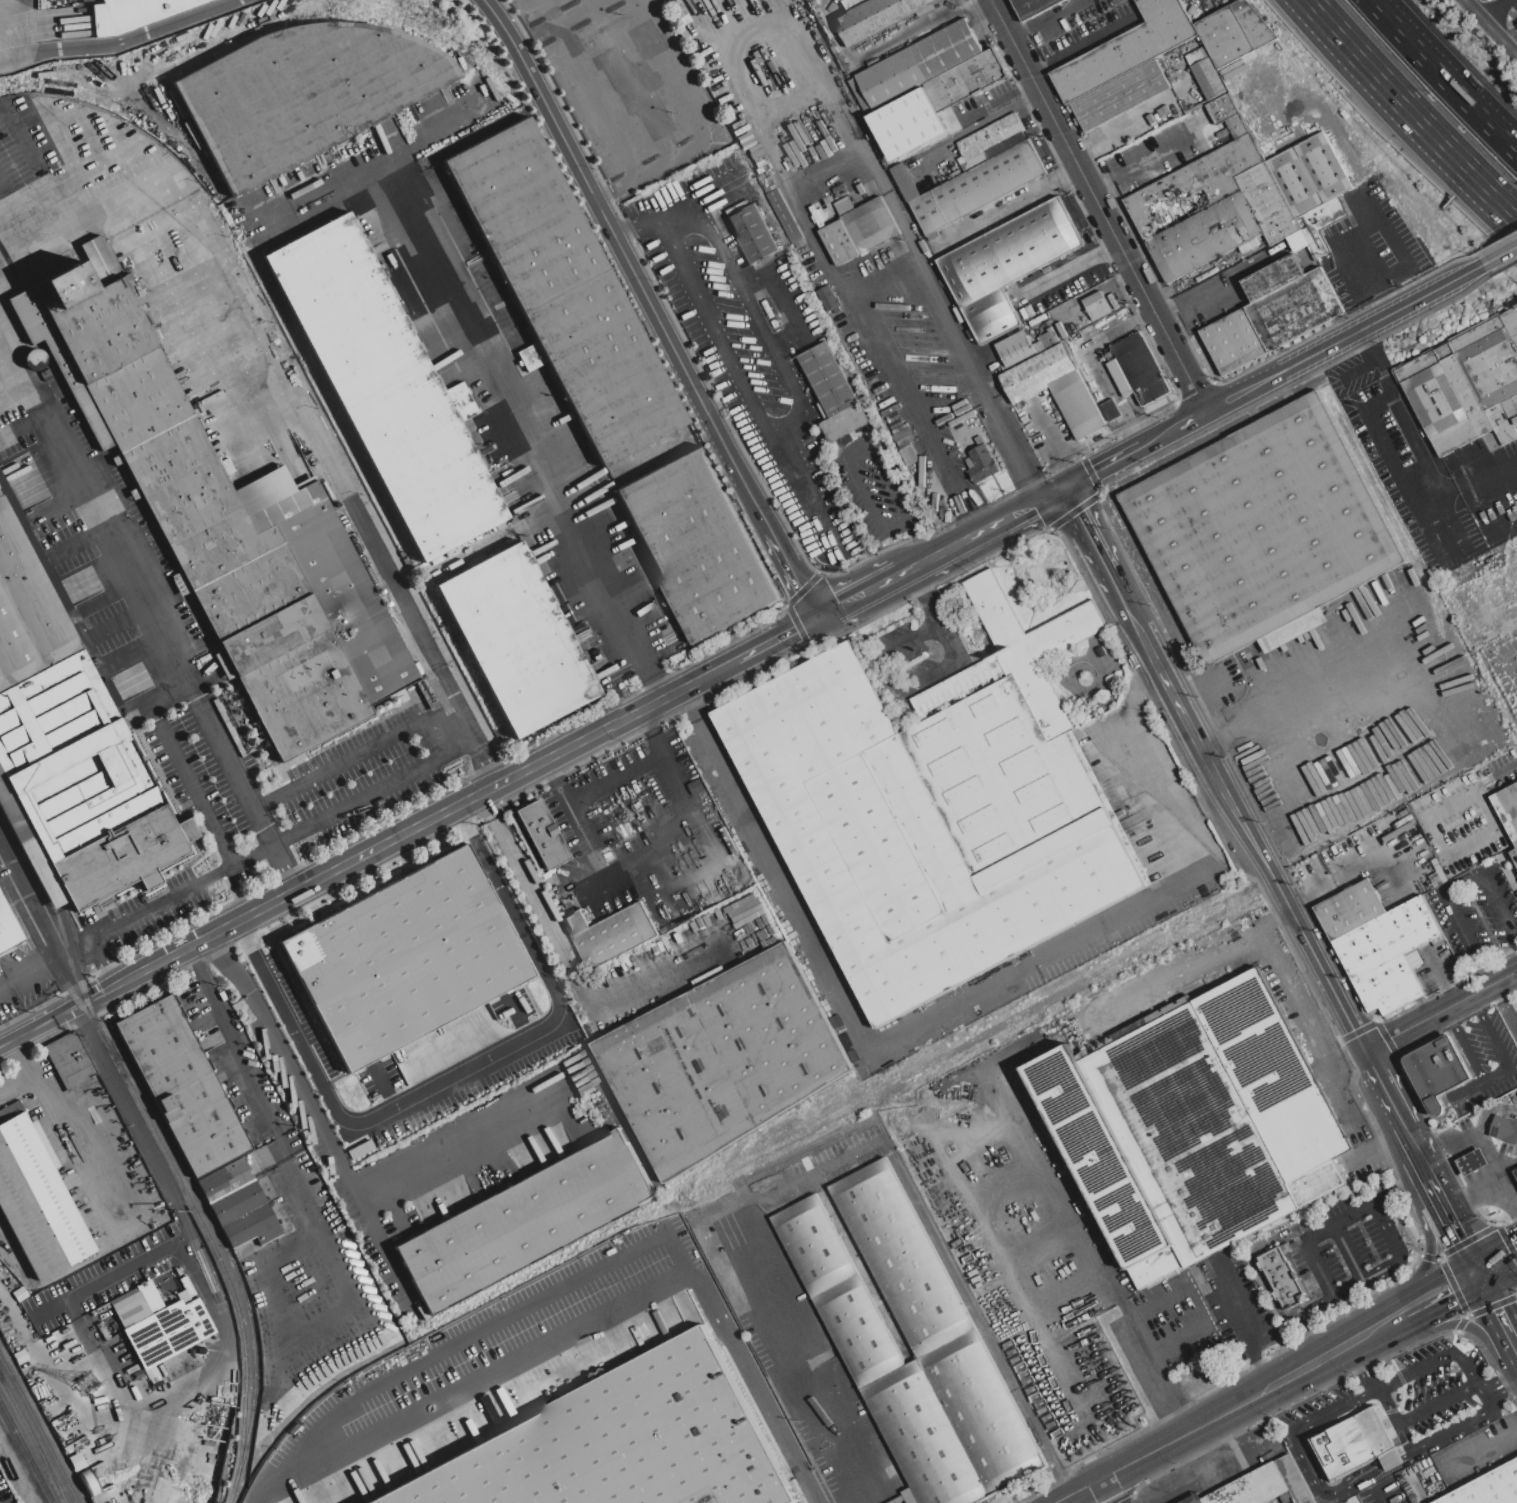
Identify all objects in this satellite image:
building: (852, 4)
road: (16, 5)
building: (1033, 7)
building: (925, 10)
road: (1493, 10)
building: (134, 13)
road: (1475, 14)
road: (1046, 17)
building: (876, 18)
road: (747, 19)
building: (1253, 23)
building: (1224, 36)
road: (121, 41)
road: (1503, 44)
road: (4, 45)
road: (1079, 45)
road: (878, 48)
building: (1128, 49)
building: (1273, 53)
building: (1197, 55)
building: (918, 64)
building: (982, 70)
road: (1443, 77)
building: (1208, 78)
road: (629, 79)
road: (589, 88)
building: (947, 88)
building: (304, 94)
building: (860, 95)
building: (1120, 95)
road: (978, 107)
building: (1222, 108)
building: (908, 110)
building: (1255, 110)
road: (1410, 111)
road: (695, 124)
building: (737, 125)
road: (1124, 125)
building: (1237, 125)
building: (741, 131)
building: (990, 136)
road: (59, 138)
building: (1223, 139)
building: (746, 141)
building: (1265, 145)
building: (755, 151)
building: (1269, 154)
building: (901, 156)
building: (920, 156)
road: (1151, 156)
building: (760, 161)
building: (970, 161)
building: (1323, 167)
road: (1371, 174)
building: (989, 181)
building: (1294, 181)
building: (904, 182)
road: (1101, 182)
road: (712, 184)
building: (1193, 187)
building: (720, 191)
road: (318, 196)
building: (1267, 202)
road: (673, 203)
road: (21, 204)
road: (1100, 205)
building: (843, 206)
building: (929, 212)
road: (5, 213)
building: (784, 216)
building: (1321, 216)
road: (634, 222)
building: (870, 224)
building: (753, 233)
building: (933, 236)
building: (1204, 236)
building: (1297, 240)
building: (839, 242)
building: (1317, 243)
building: (1249, 244)
road: (1108, 249)
building: (1009, 251)
road: (1498, 255)
road: (1362, 257)
building: (99, 261)
road: (628, 262)
railway: (9, 264)
road: (1058, 275)
building: (1273, 277)
building: (63, 288)
building: (564, 293)
building: (1318, 296)
road: (1383, 297)
building: (827, 298)
road: (1196, 303)
building: (1097, 305)
building: (1294, 309)
building: (991, 314)
building: (1269, 322)
building: (1066, 325)
building: (101, 330)
building: (1061, 330)
building: (1053, 335)
building: (1245, 335)
road: (1344, 339)
building: (1047, 340)
building: (1039, 347)
building: (1223, 347)
building: (1015, 350)
road: (958, 355)
building: (56, 358)
road: (1356, 366)
building: (1140, 369)
road: (486, 372)
building: (1036, 373)
building: (45, 375)
road: (270, 376)
building: (828, 379)
building: (1467, 385)
building: (384, 388)
building: (1047, 398)
building: (137, 399)
building: (1076, 404)
building: (1055, 410)
road: (1192, 419)
building: (844, 422)
road: (783, 423)
road: (1159, 436)
building: (902, 440)
building: (1054, 442)
road: (1420, 443)
road: (843, 454)
road: (1387, 454)
building: (981, 463)
road: (1101, 467)
traffic signals: (1062, 488)
building: (275, 498)
building: (192, 504)
road: (1001, 519)
building: (1262, 526)
road: (1083, 527)
road: (918, 537)
building: (697, 545)
building: (36, 550)
road: (920, 561)
road: (792, 572)
building: (246, 592)
road: (857, 595)
building: (345, 601)
road: (152, 611)
road: (932, 614)
traffic signals: (816, 617)
building: (1291, 629)
building: (269, 636)
road: (776, 638)
building: (517, 639)
building: (1015, 651)
road: (716, 670)
road: (885, 673)
building: (303, 695)
road: (1183, 713)
road: (619, 722)
road: (1247, 725)
road: (467, 726)
road: (456, 750)
building: (69, 752)
road: (1154, 753)
road: (1494, 773)
road: (611, 776)
road: (487, 806)
building: (1508, 808)
road: (329, 816)
road: (421, 825)
building: (926, 826)
building: (541, 834)
road: (647, 848)
building: (1514, 855)
road: (1445, 857)
road: (1348, 865)
road: (490, 871)
road: (1447, 884)
road: (28, 901)
road: (137, 912)
building: (577, 923)
building: (9, 926)
building: (616, 936)
building: (1377, 944)
road: (192, 947)
road: (56, 955)
road: (1313, 955)
building: (404, 958)
road: (1515, 977)
road: (1170, 981)
road: (578, 982)
road: (4, 984)
railway: (84, 988)
road: (1291, 1001)
road: (279, 1003)
road: (1505, 1007)
road: (1440, 1012)
road: (41, 1024)
road: (879, 1047)
road: (1367, 1059)
building: (723, 1060)
building: (69, 1061)
road: (477, 1067)
building: (1435, 1071)
road: (1493, 1076)
road: (15, 1084)
building: (181, 1086)
road: (1464, 1091)
road: (1337, 1095)
road: (78, 1101)
road: (1394, 1110)
building: (3, 1112)
building: (1192, 1125)
building: (1504, 1128)
road: (1469, 1131)
railway: (813, 1150)
road: (844, 1157)
building: (1473, 1161)
building: (1516, 1171)
road: (1428, 1176)
road: (1507, 1177)
road: (1052, 1184)
road: (1400, 1188)
road: (351, 1191)
road: (1481, 1193)
railway: (191, 1200)
building: (37, 1201)
building: (238, 1205)
building: (525, 1220)
road: (316, 1227)
road: (1455, 1227)
road: (1310, 1234)
traffic signals: (1460, 1237)
traffic signals: (1508, 1238)
road: (178, 1241)
road: (1427, 1242)
road: (1494, 1245)
railway: (226, 1250)
road: (1348, 1251)
road: (1253, 1259)
road: (389, 1261)
road: (76, 1264)
road: (1393, 1264)
road: (1479, 1271)
building: (1281, 1276)
road: (1434, 1277)
road: (1502, 1277)
building: (59, 1290)
building: (150, 1297)
traffic signals: (1454, 1301)
road: (1444, 1305)
traffic signals: (1498, 1307)
building: (129, 1308)
road: (1387, 1312)
road: (1501, 1313)
road: (1231, 1316)
road: (1304, 1321)
road: (1465, 1322)
road: (1389, 1326)
road: (589, 1327)
building: (167, 1332)
road: (472, 1339)
building: (911, 1343)
road: (230, 1356)
road: (1321, 1356)
road: (1358, 1356)
road: (1433, 1361)
road: (1151, 1366)
road: (1258, 1371)
road: (1371, 1380)
road: (1510, 1380)
road: (1486, 1383)
building: (43, 1384)
power tower: (87, 1388)
road: (1497, 1390)
road: (1481, 1392)
road: (1360, 1397)
building: (48, 1399)
building: (54, 1409)
road: (1416, 1415)
road: (1456, 1426)
railway: (39, 1429)
building: (76, 1434)
road: (1226, 1436)
railway: (33, 1438)
building: (1355, 1443)
road: (1162, 1445)
building: (617, 1446)
road: (1484, 1450)
railway: (26, 1452)
building: (90, 1461)
road: (1212, 1472)
road: (1317, 1481)
building: (1262, 1486)
building: (1487, 1487)
road: (1106, 1490)
road: (1382, 1498)

